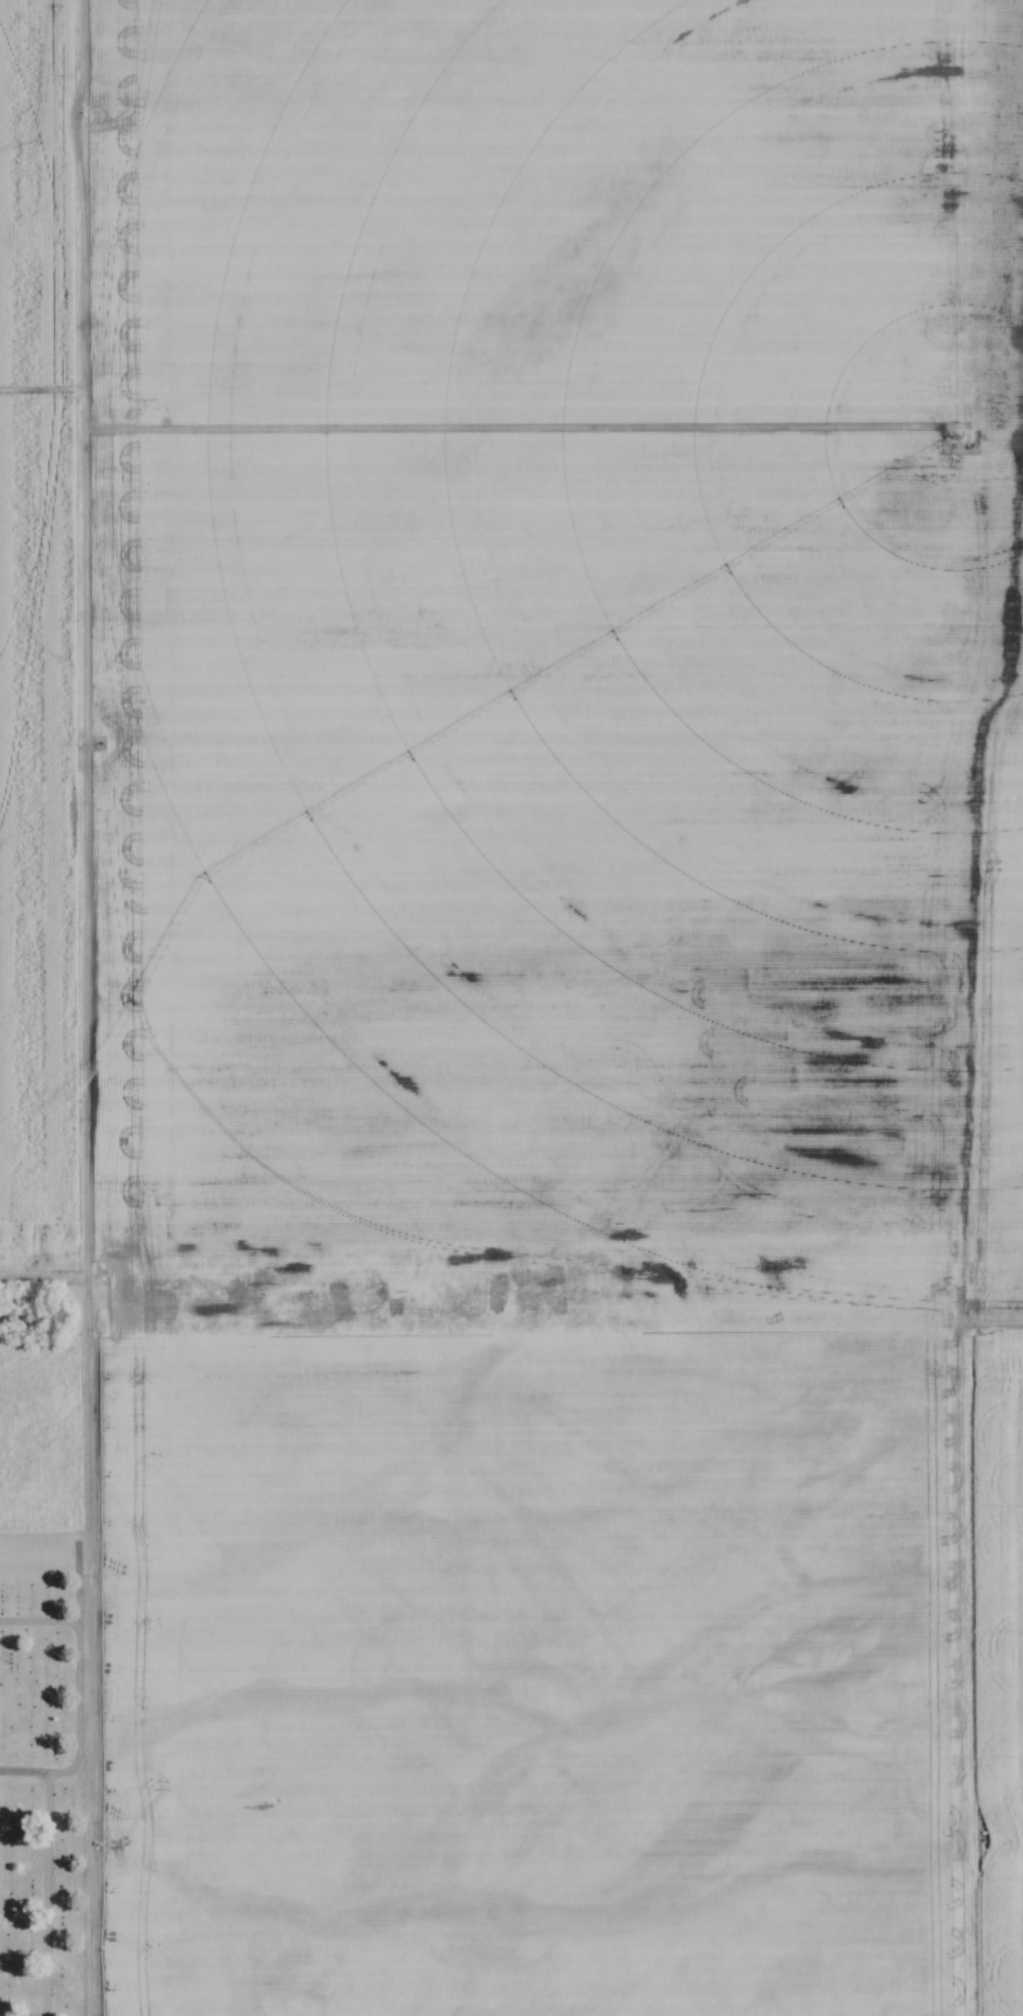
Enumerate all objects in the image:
road: (73, 1703)
park: (45, 1783)
road: (42, 1898)

